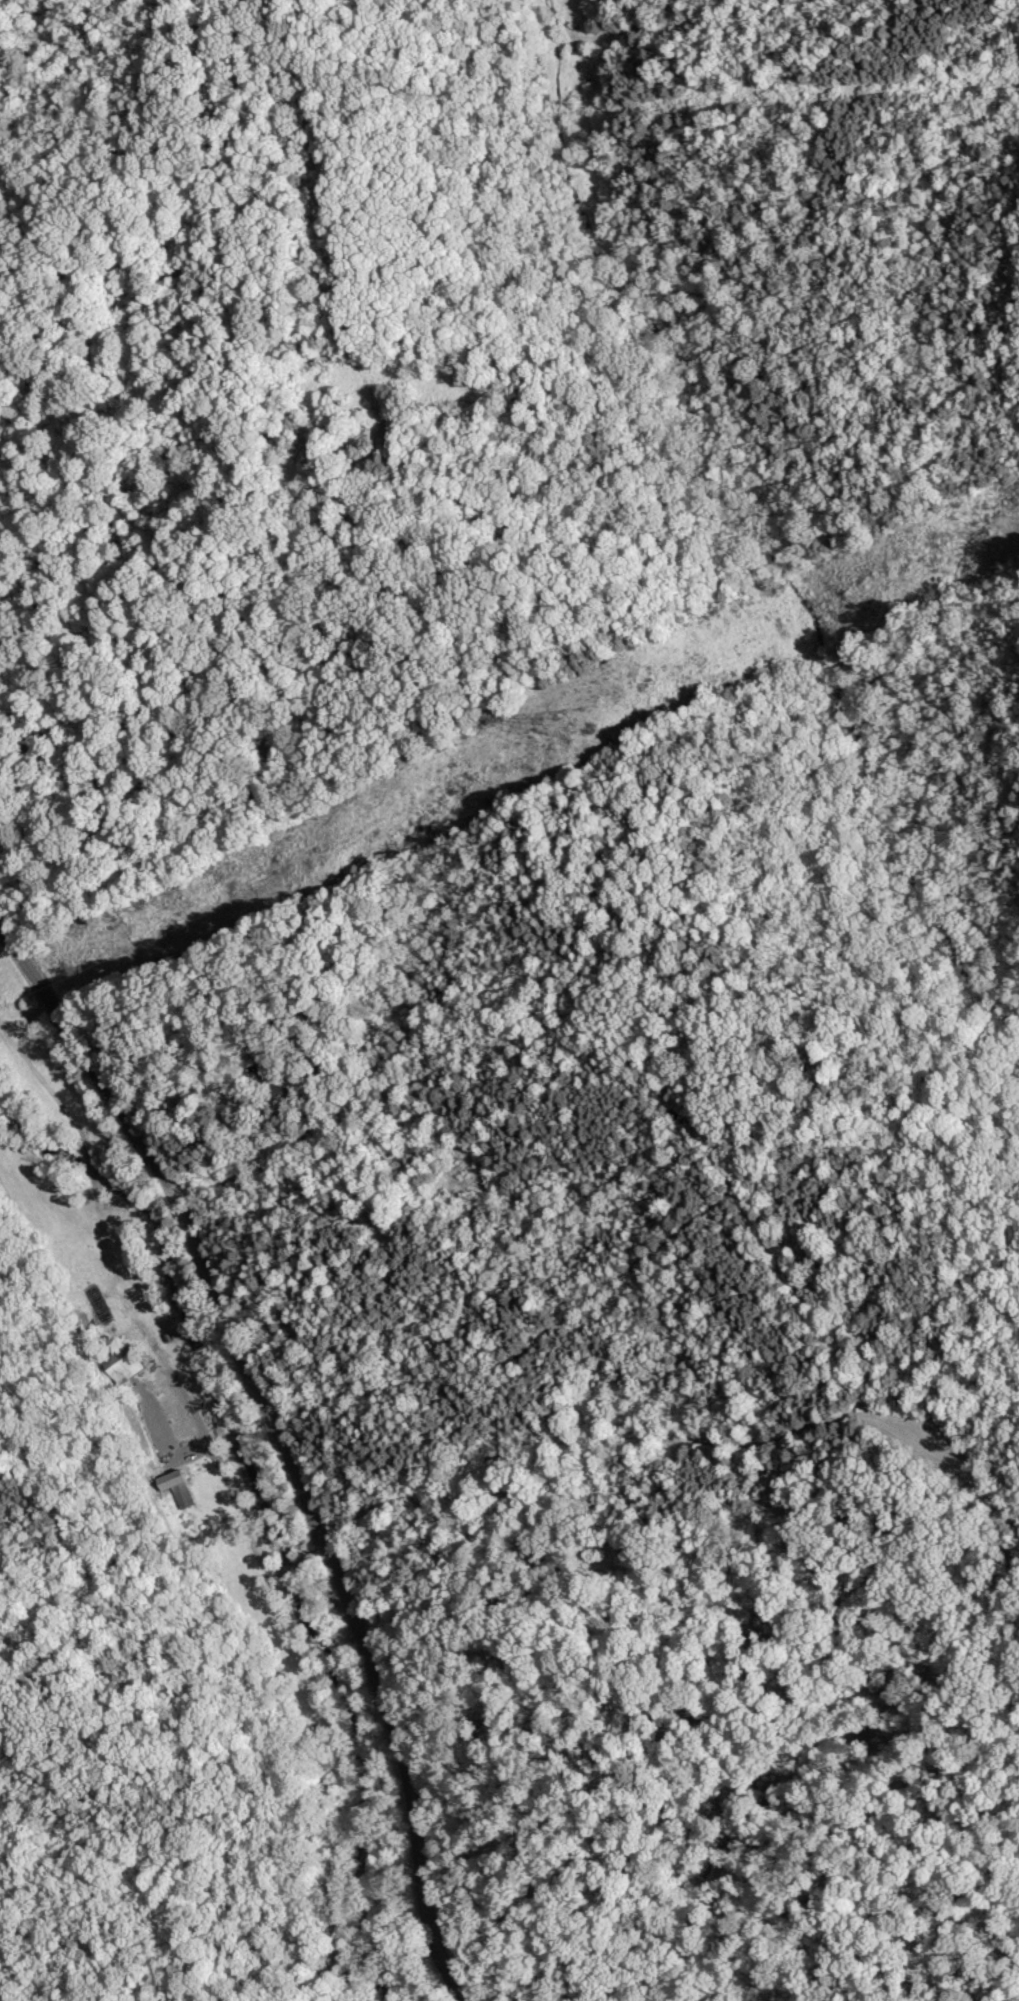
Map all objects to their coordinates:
road: (632, 34)
power tower: (568, 722)
road: (278, 1449)
building: (178, 1486)

